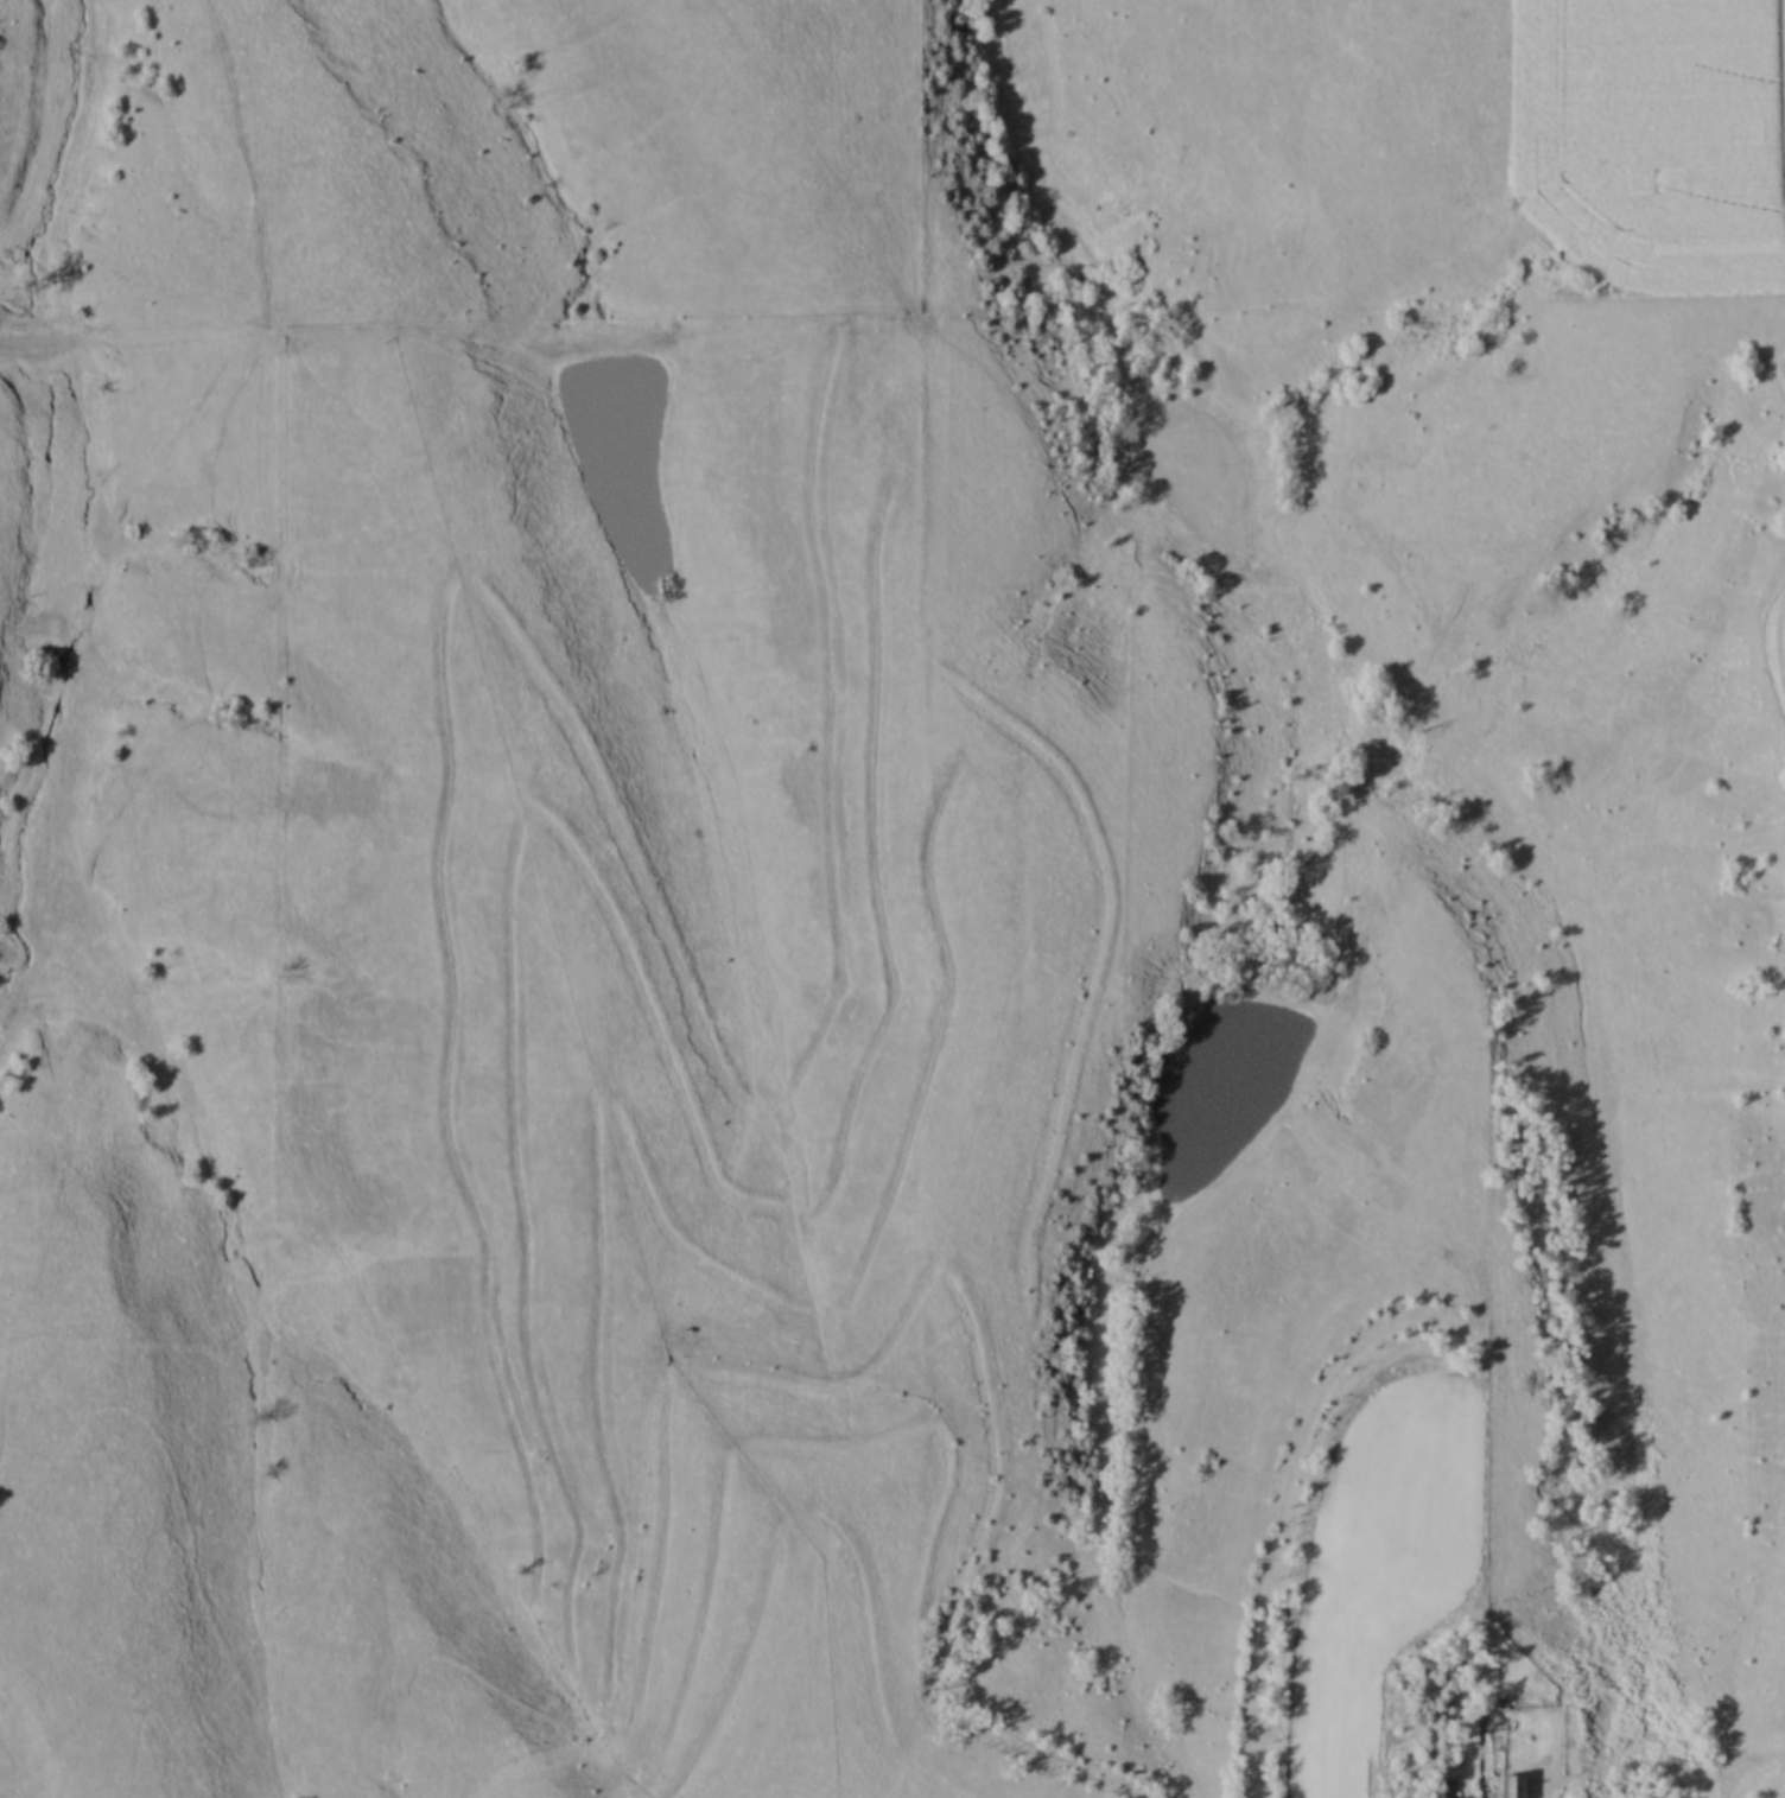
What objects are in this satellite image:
building: (1513, 1786)

